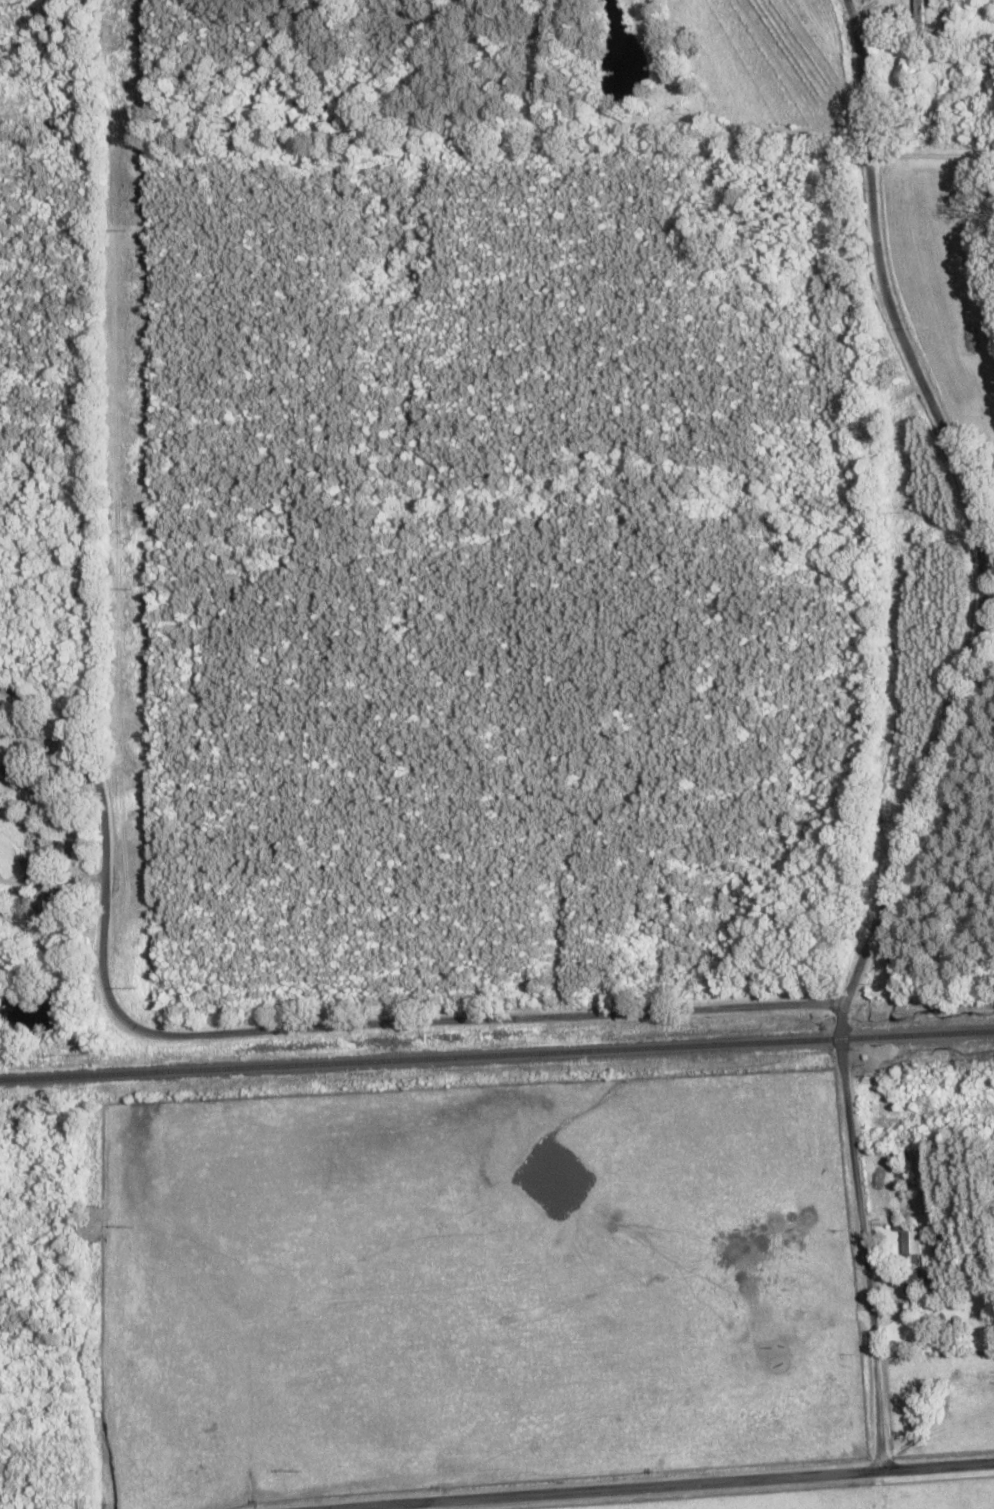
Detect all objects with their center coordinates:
road: (847, 7)
road: (863, 9)
parking lot: (81, 278)
road: (60, 731)
road: (939, 739)
building: (25, 777)
building: (51, 864)
road: (361, 1029)
railway: (497, 1055)
building: (908, 1248)
building: (908, 1288)
road: (662, 1485)

